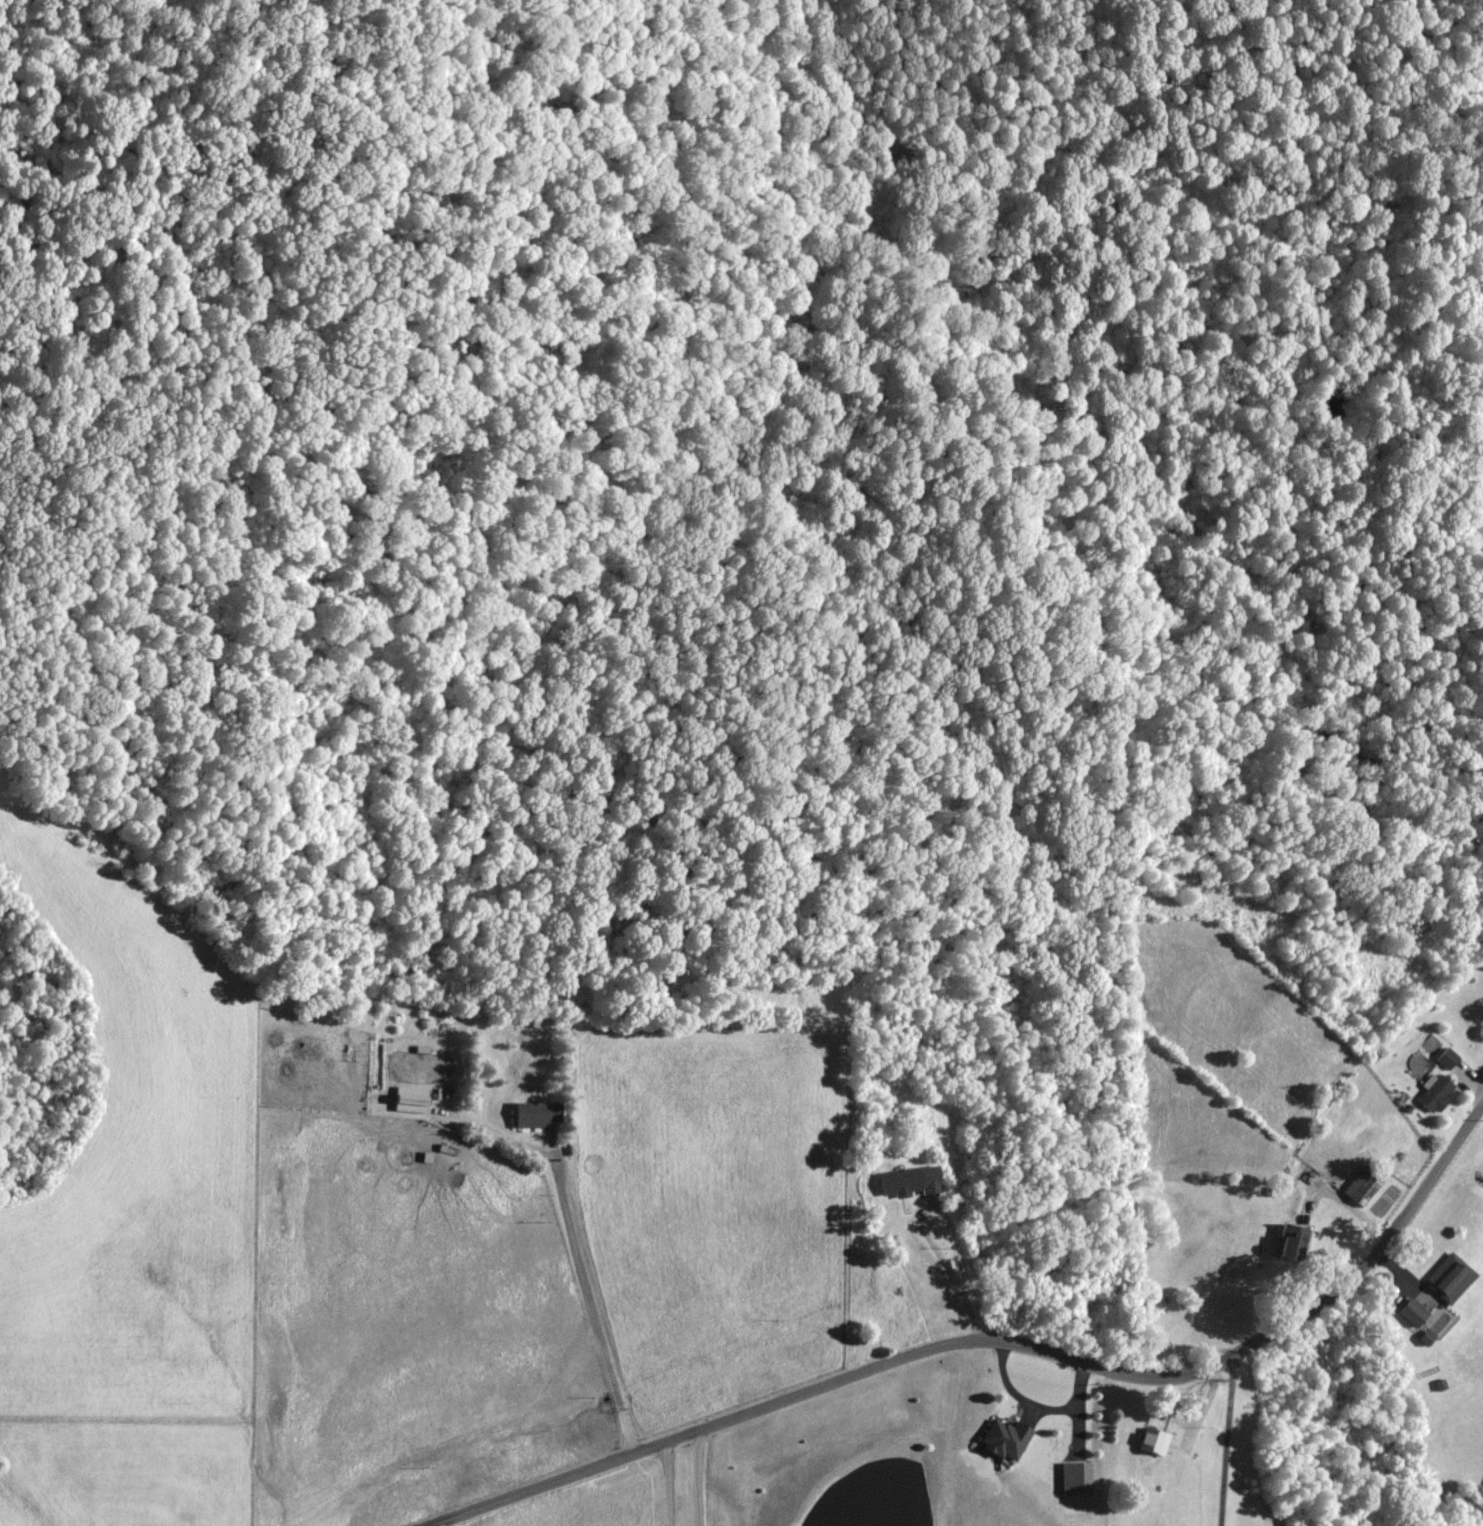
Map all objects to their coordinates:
building: (1446, 1059)
building: (1436, 1095)
building: (411, 1100)
building: (537, 1115)
building: (910, 1182)
building: (1363, 1185)
building: (1291, 1243)
building: (1451, 1278)
building: (1413, 1313)
road: (998, 1341)
building: (1005, 1440)
building: (1153, 1442)
building: (1075, 1479)

